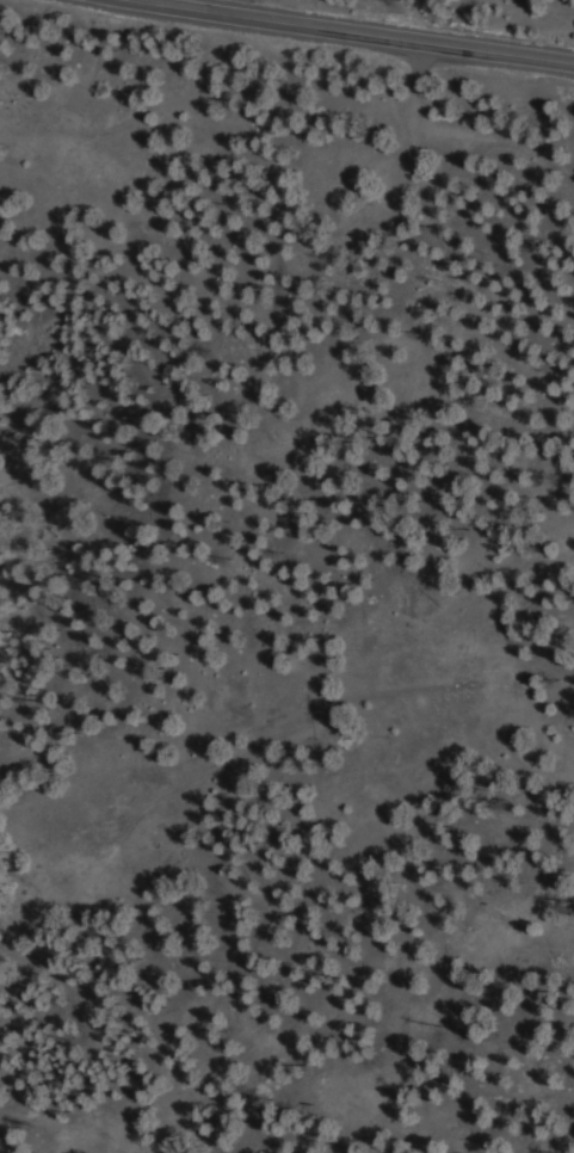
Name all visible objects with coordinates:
road: (359, 31)
road: (391, 95)

